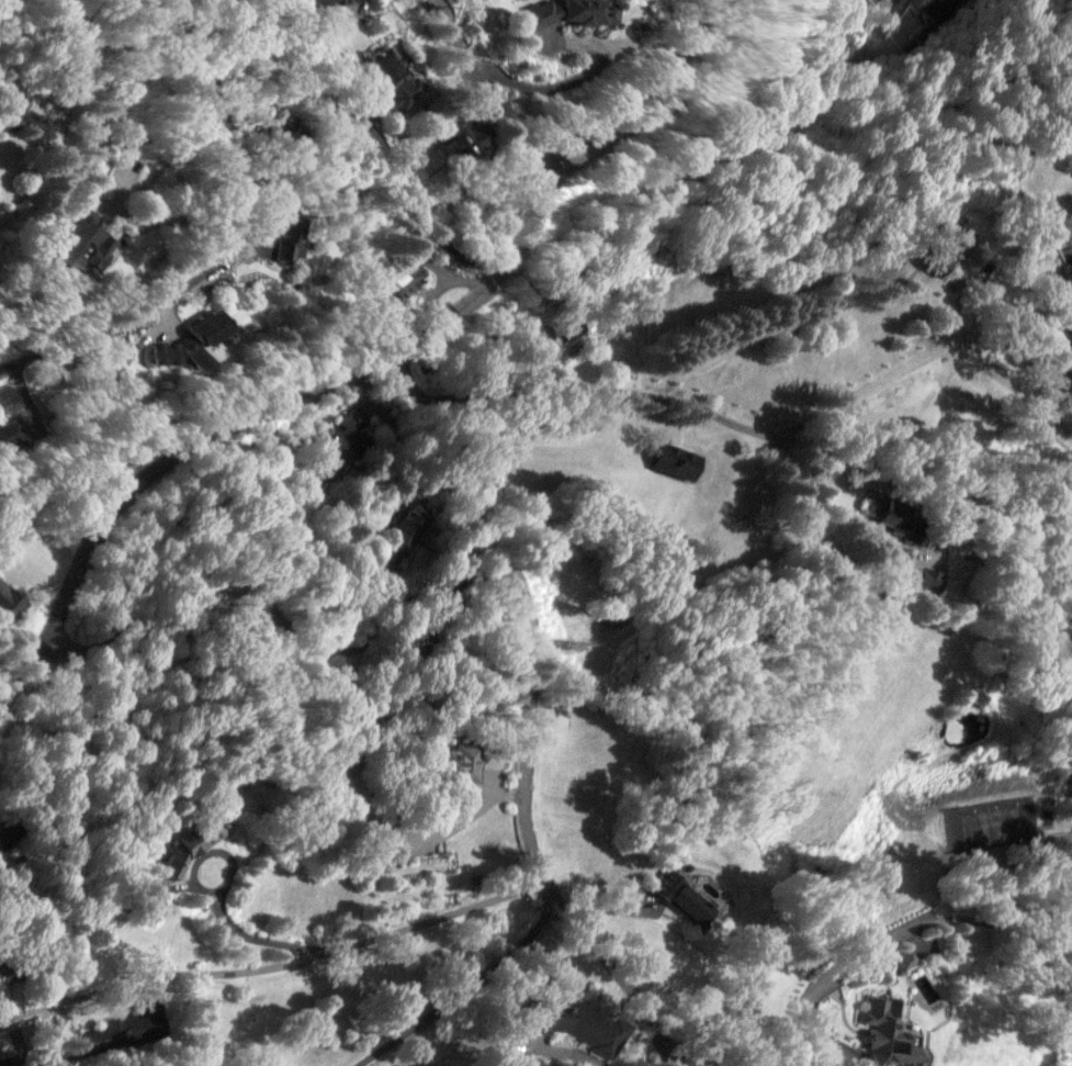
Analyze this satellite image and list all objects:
building: (877, 0)
building: (327, 1)
building: (937, 9)
building: (563, 12)
building: (610, 12)
road: (874, 22)
road: (193, 27)
building: (395, 78)
road: (488, 88)
road: (633, 91)
building: (285, 130)
road: (391, 170)
road: (205, 206)
building: (287, 238)
building: (952, 245)
building: (80, 246)
building: (1063, 262)
road: (213, 271)
building: (404, 280)
road: (1060, 301)
road: (295, 324)
building: (565, 328)
building: (201, 337)
road: (381, 357)
road: (520, 371)
road: (416, 377)
road: (865, 390)
road: (730, 420)
building: (10, 433)
building: (335, 441)
building: (674, 460)
building: (890, 512)
road: (58, 521)
building: (400, 532)
building: (924, 576)
road: (455, 588)
building: (10, 601)
building: (454, 761)
road: (924, 811)
building: (5, 835)
building: (191, 842)
building: (680, 897)
building: (146, 906)
road: (895, 934)
road: (271, 966)
building: (7, 972)
building: (915, 976)
road: (464, 988)
building: (131, 1024)
building: (887, 1034)

